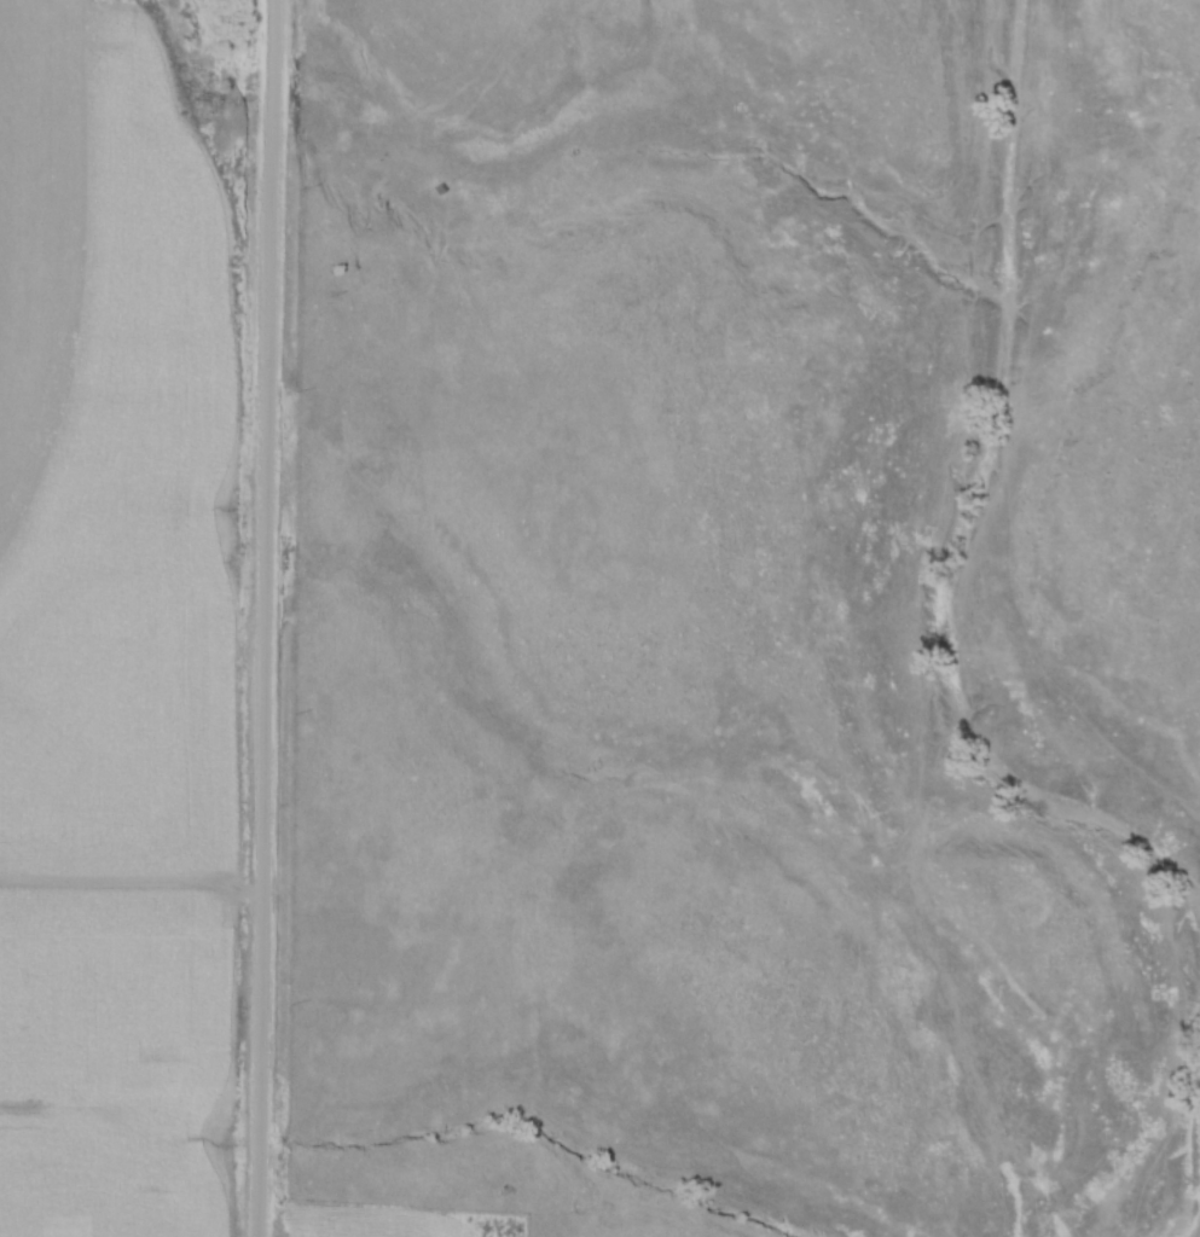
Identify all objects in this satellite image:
crop: (23, 192)
road: (266, 617)

